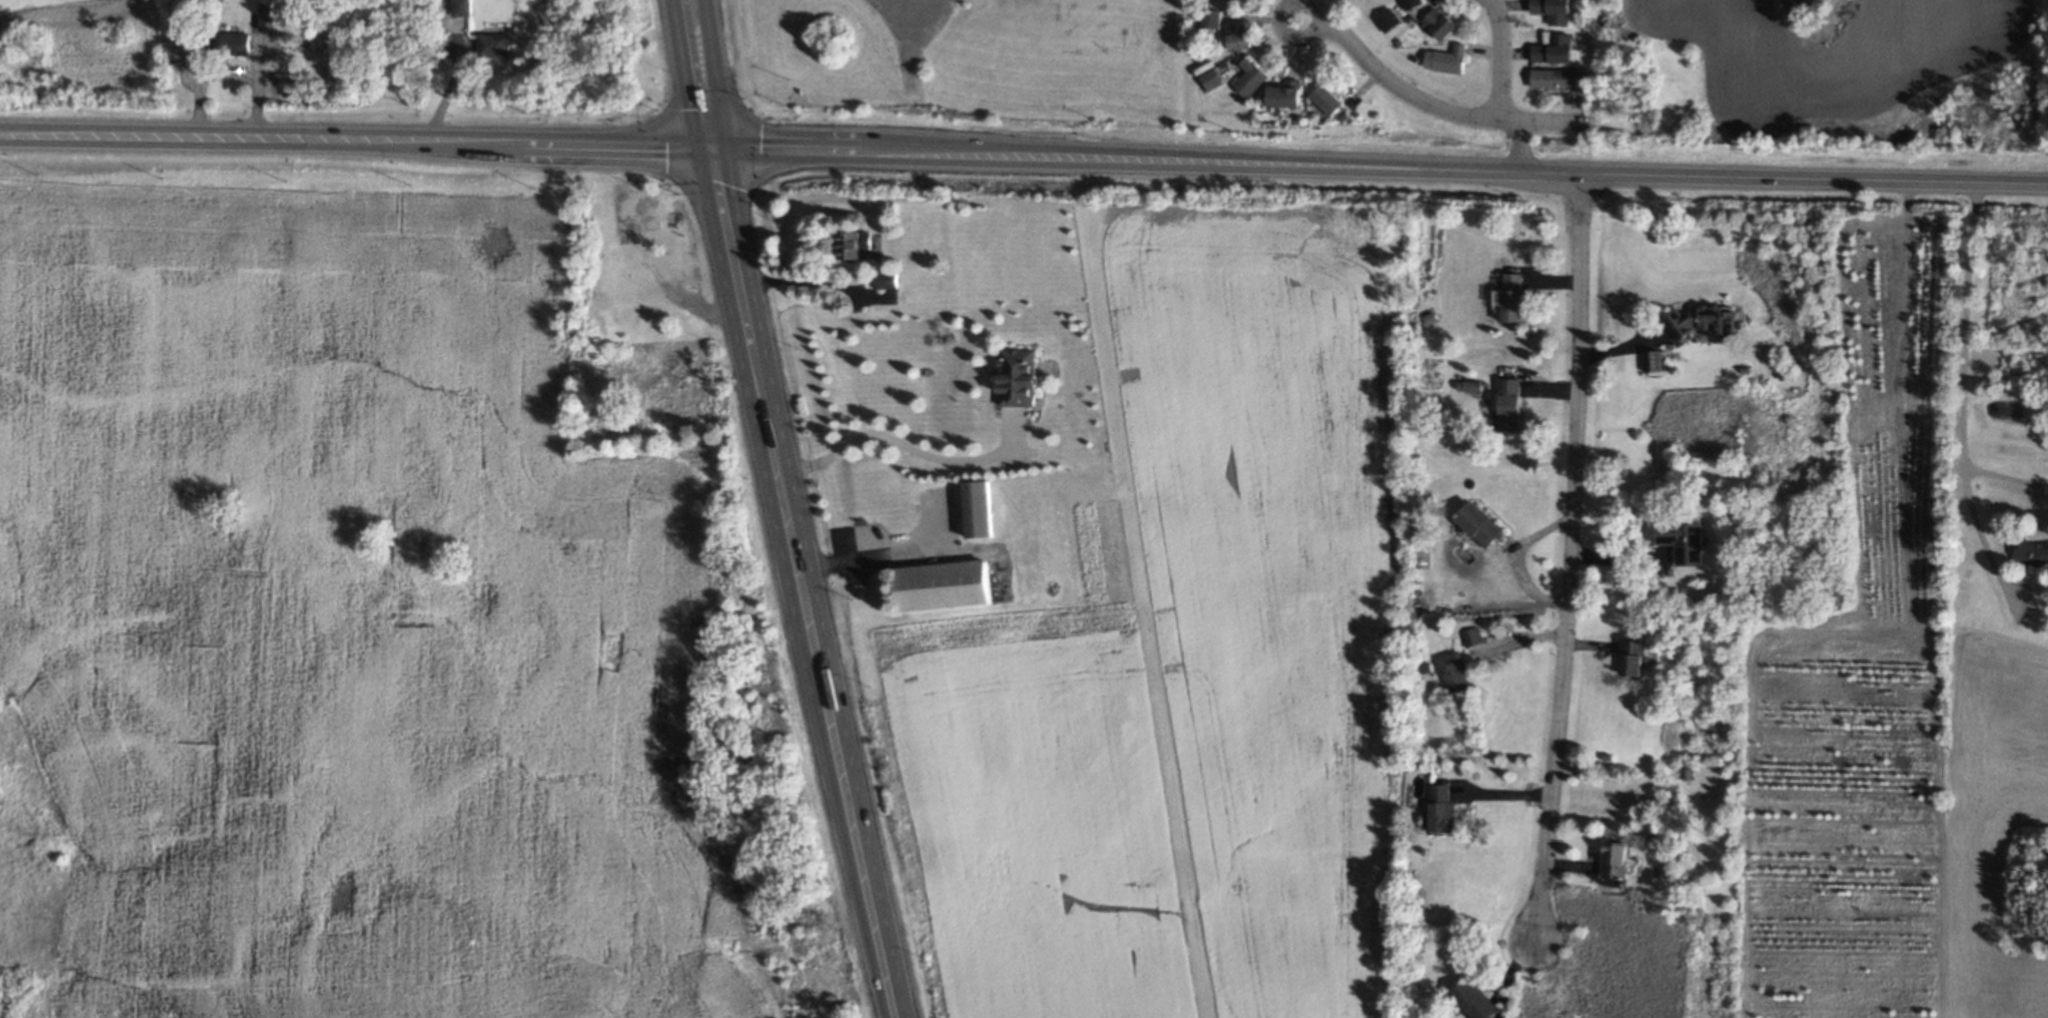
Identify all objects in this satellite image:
building: (1241, 1)
building: (1244, 1)
building: (1405, 2)
building: (458, 6)
building: (1551, 9)
building: (269, 14)
building: (1206, 16)
building: (1383, 16)
building: (1440, 18)
building: (1233, 33)
road: (1288, 33)
building: (224, 43)
building: (489, 43)
building: (191, 45)
building: (1550, 47)
building: (1446, 54)
road: (1501, 58)
park: (2047, 62)
road: (690, 71)
road: (713, 71)
building: (1245, 74)
building: (1206, 75)
building: (1552, 75)
building: (1282, 90)
building: (1322, 95)
road: (1427, 104)
road: (356, 138)
traffic signals: (702, 142)
traffic signals: (727, 143)
road: (1518, 148)
road: (1147, 158)
road: (1815, 183)
building: (854, 244)
building: (886, 279)
road: (815, 282)
building: (1512, 297)
building: (1704, 320)
building: (1653, 360)
building: (1022, 376)
building: (1509, 403)
road: (1962, 404)
road: (917, 450)
road: (2006, 474)
building: (983, 509)
building: (1480, 524)
building: (1684, 540)
building: (2033, 551)
road: (878, 555)
road: (1518, 560)
road: (1570, 560)
road: (816, 580)
road: (791, 581)
building: (947, 585)
building: (1471, 636)
building: (1632, 658)
crop: (1193, 663)
building: (1454, 672)
crop: (1889, 732)
building: (1441, 809)
building: (1615, 859)
building: (1474, 1000)

